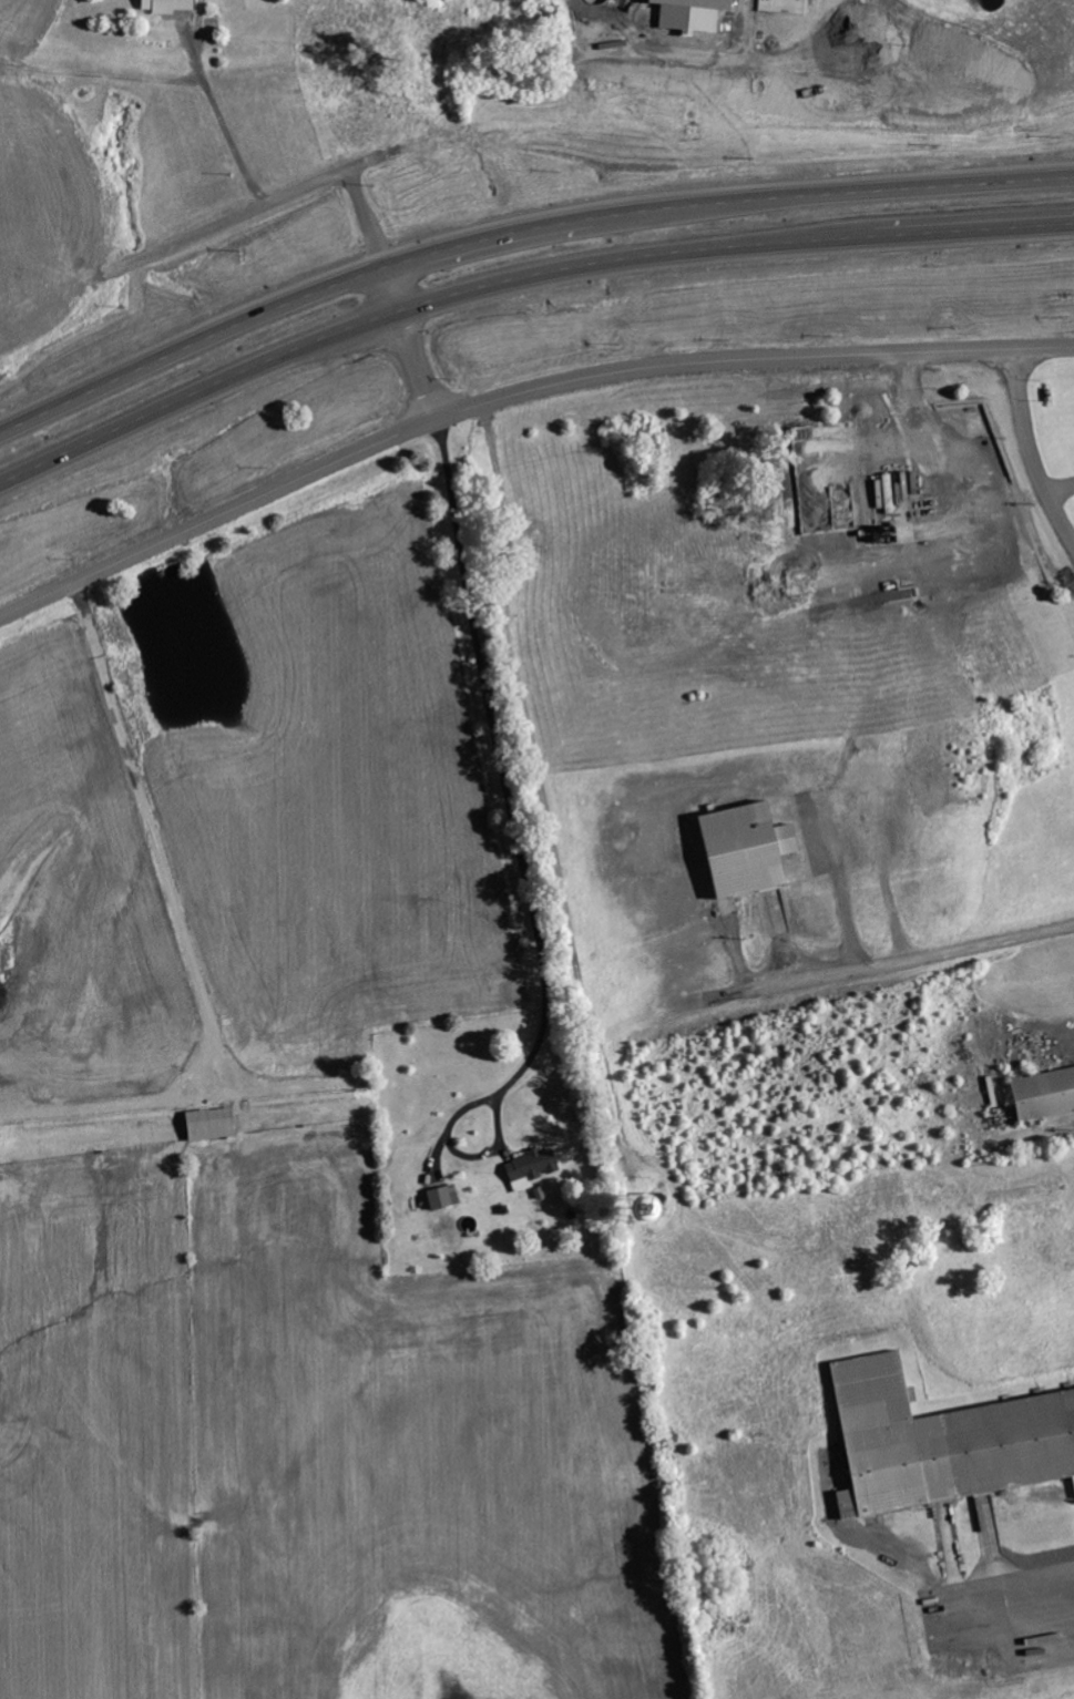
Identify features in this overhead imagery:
building: (168, 7)
building: (693, 13)
road: (243, 214)
road: (367, 217)
road: (519, 232)
road: (518, 282)
road: (407, 345)
road: (515, 395)
road: (1030, 451)
building: (749, 848)
road: (521, 853)
building: (1045, 1093)
building: (212, 1124)
building: (532, 1168)
building: (444, 1197)
building: (654, 1206)
building: (943, 1441)
road: (1013, 1582)

